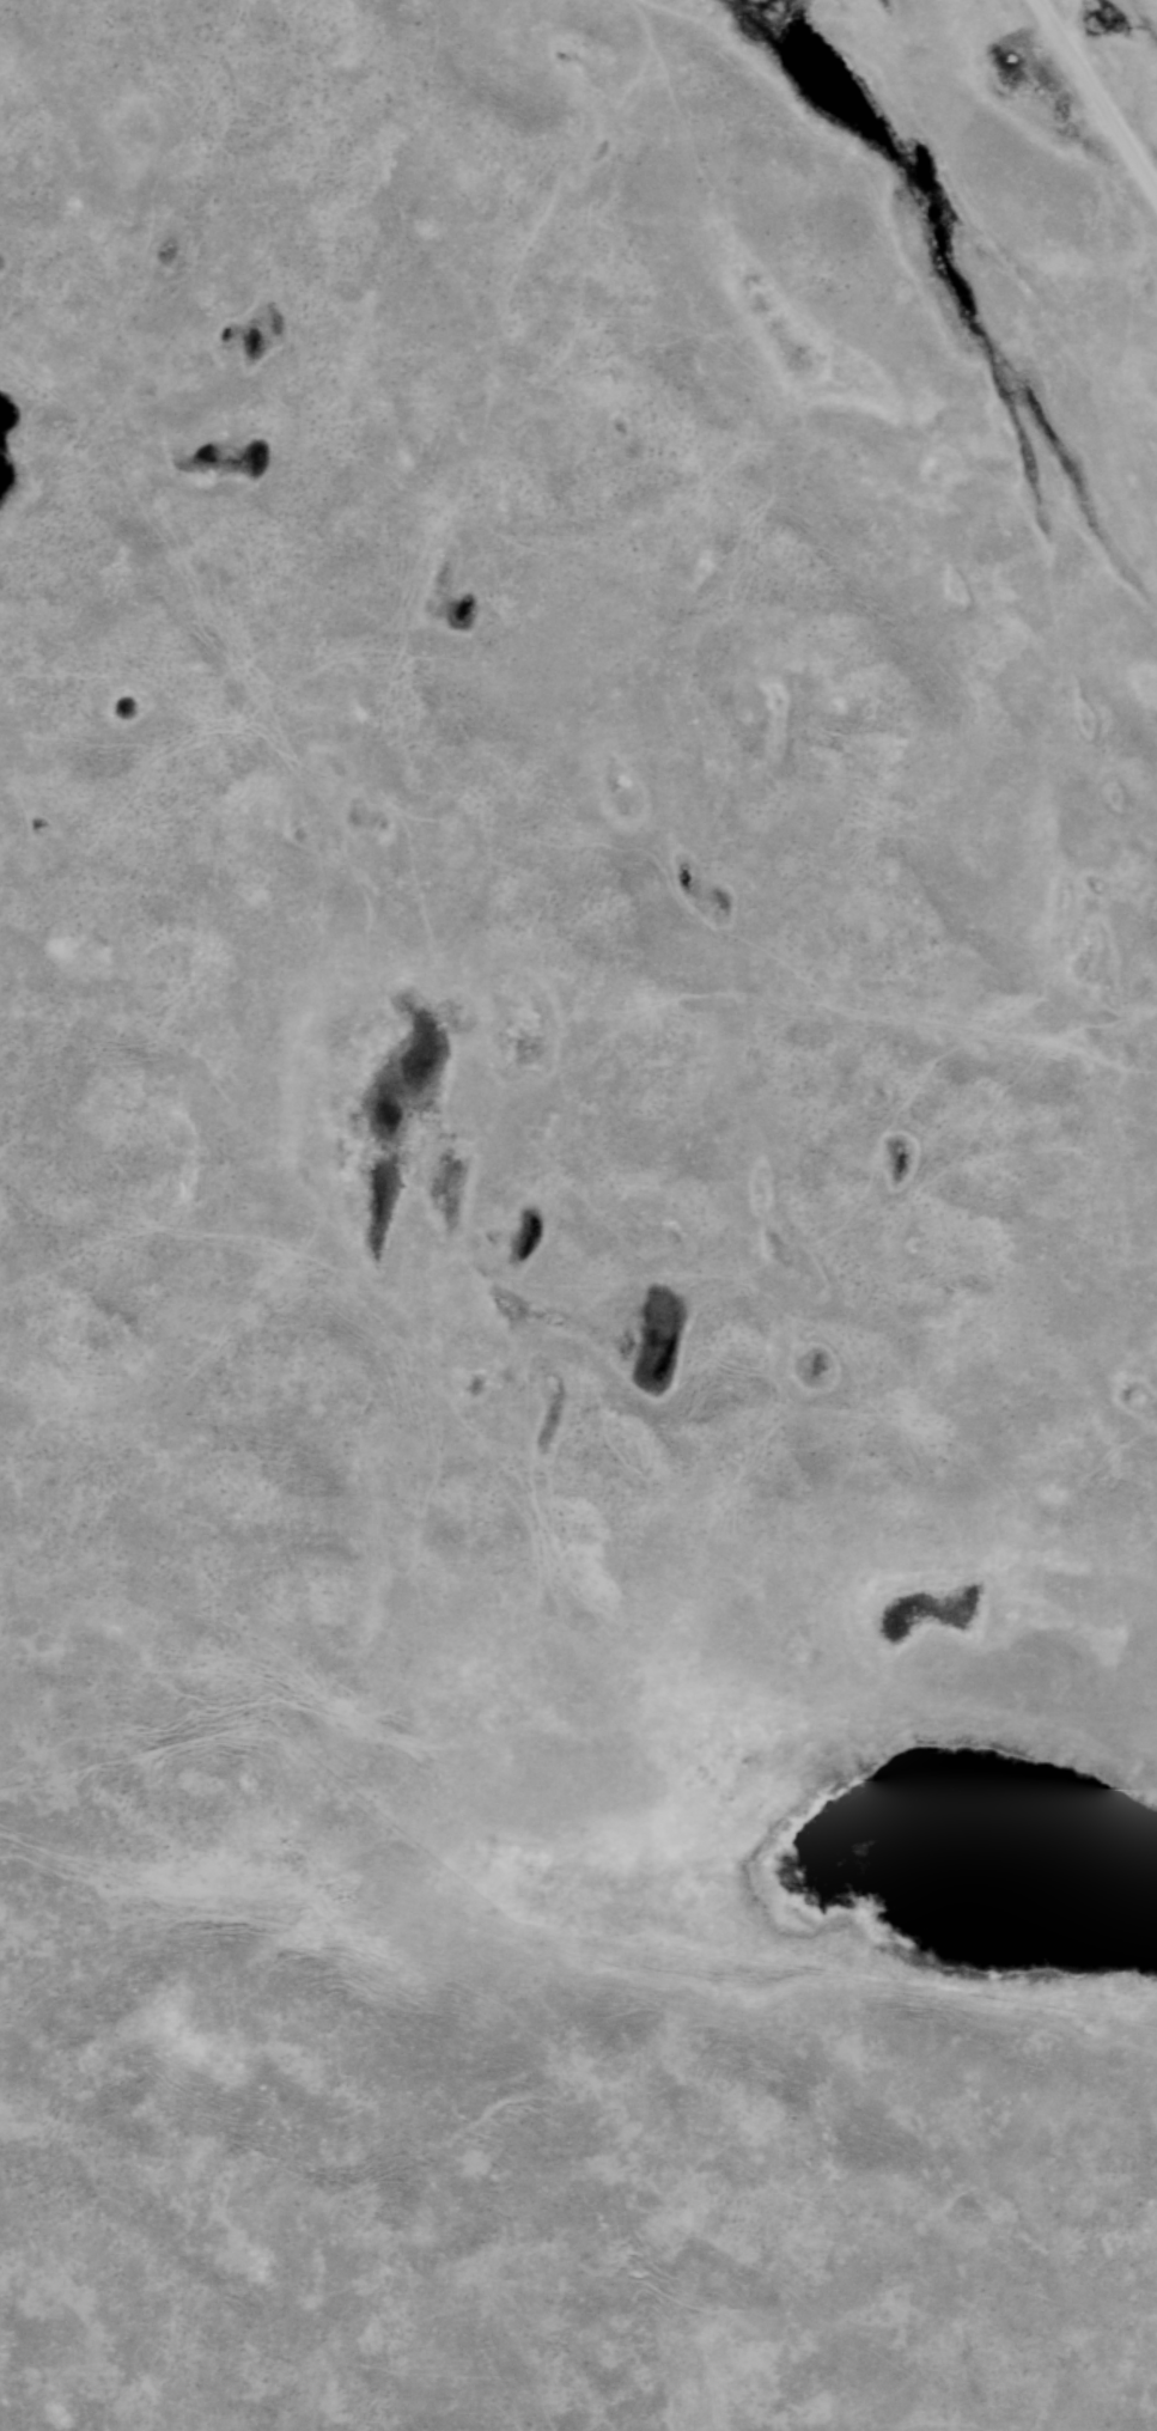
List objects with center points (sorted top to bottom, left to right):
road: (1097, 95)

